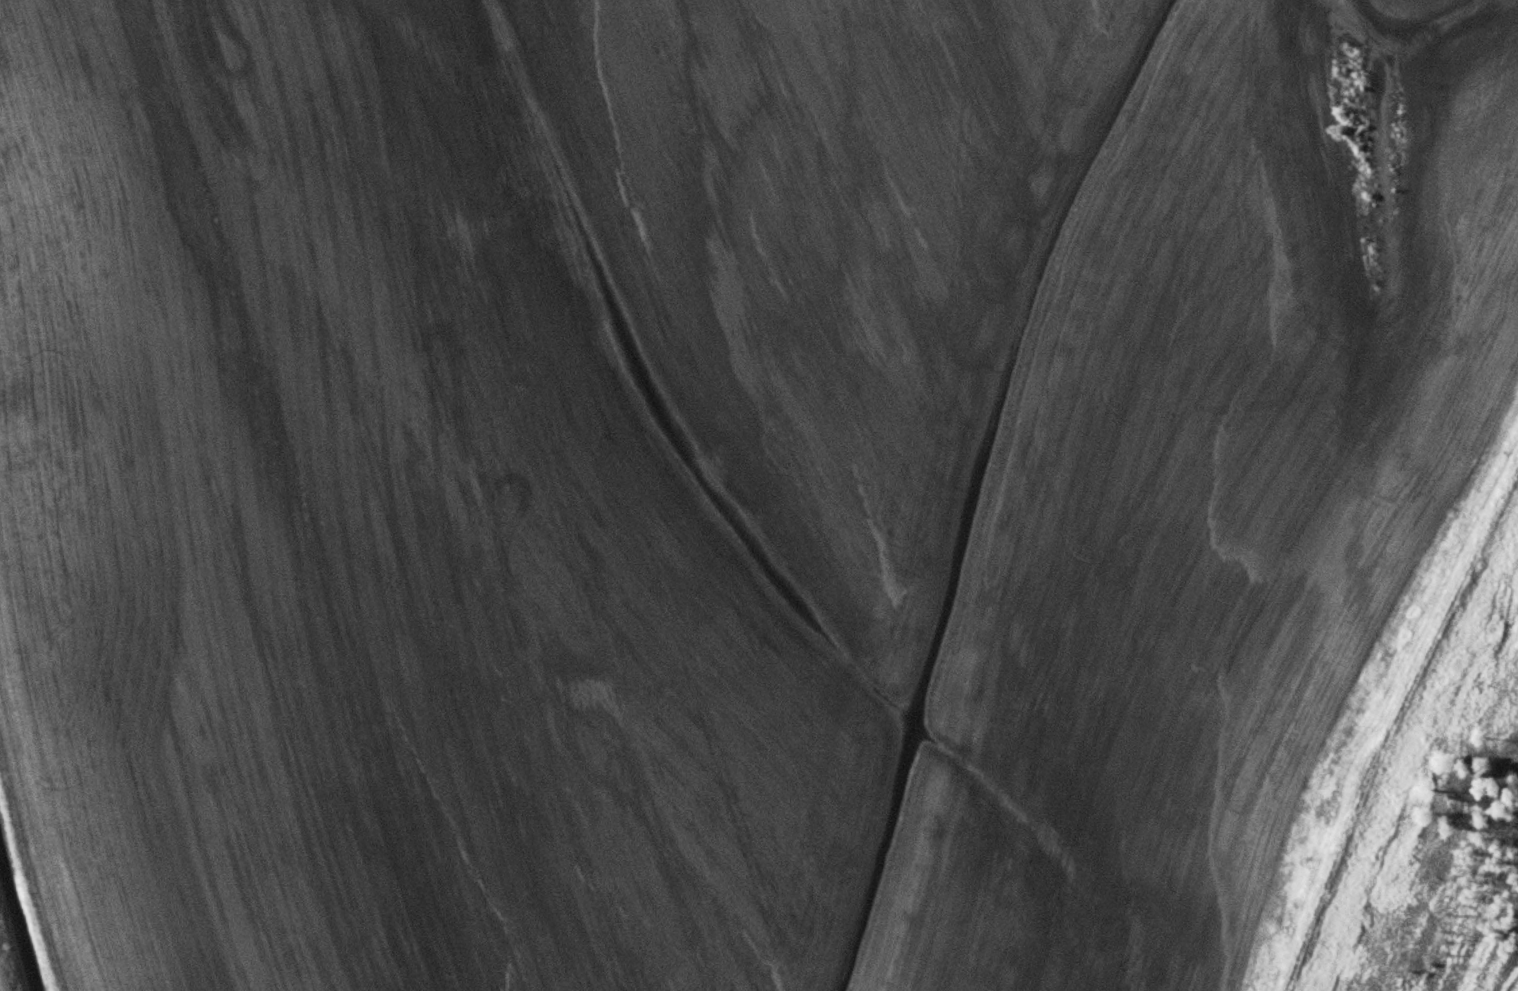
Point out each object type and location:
road: (1419, 766)

